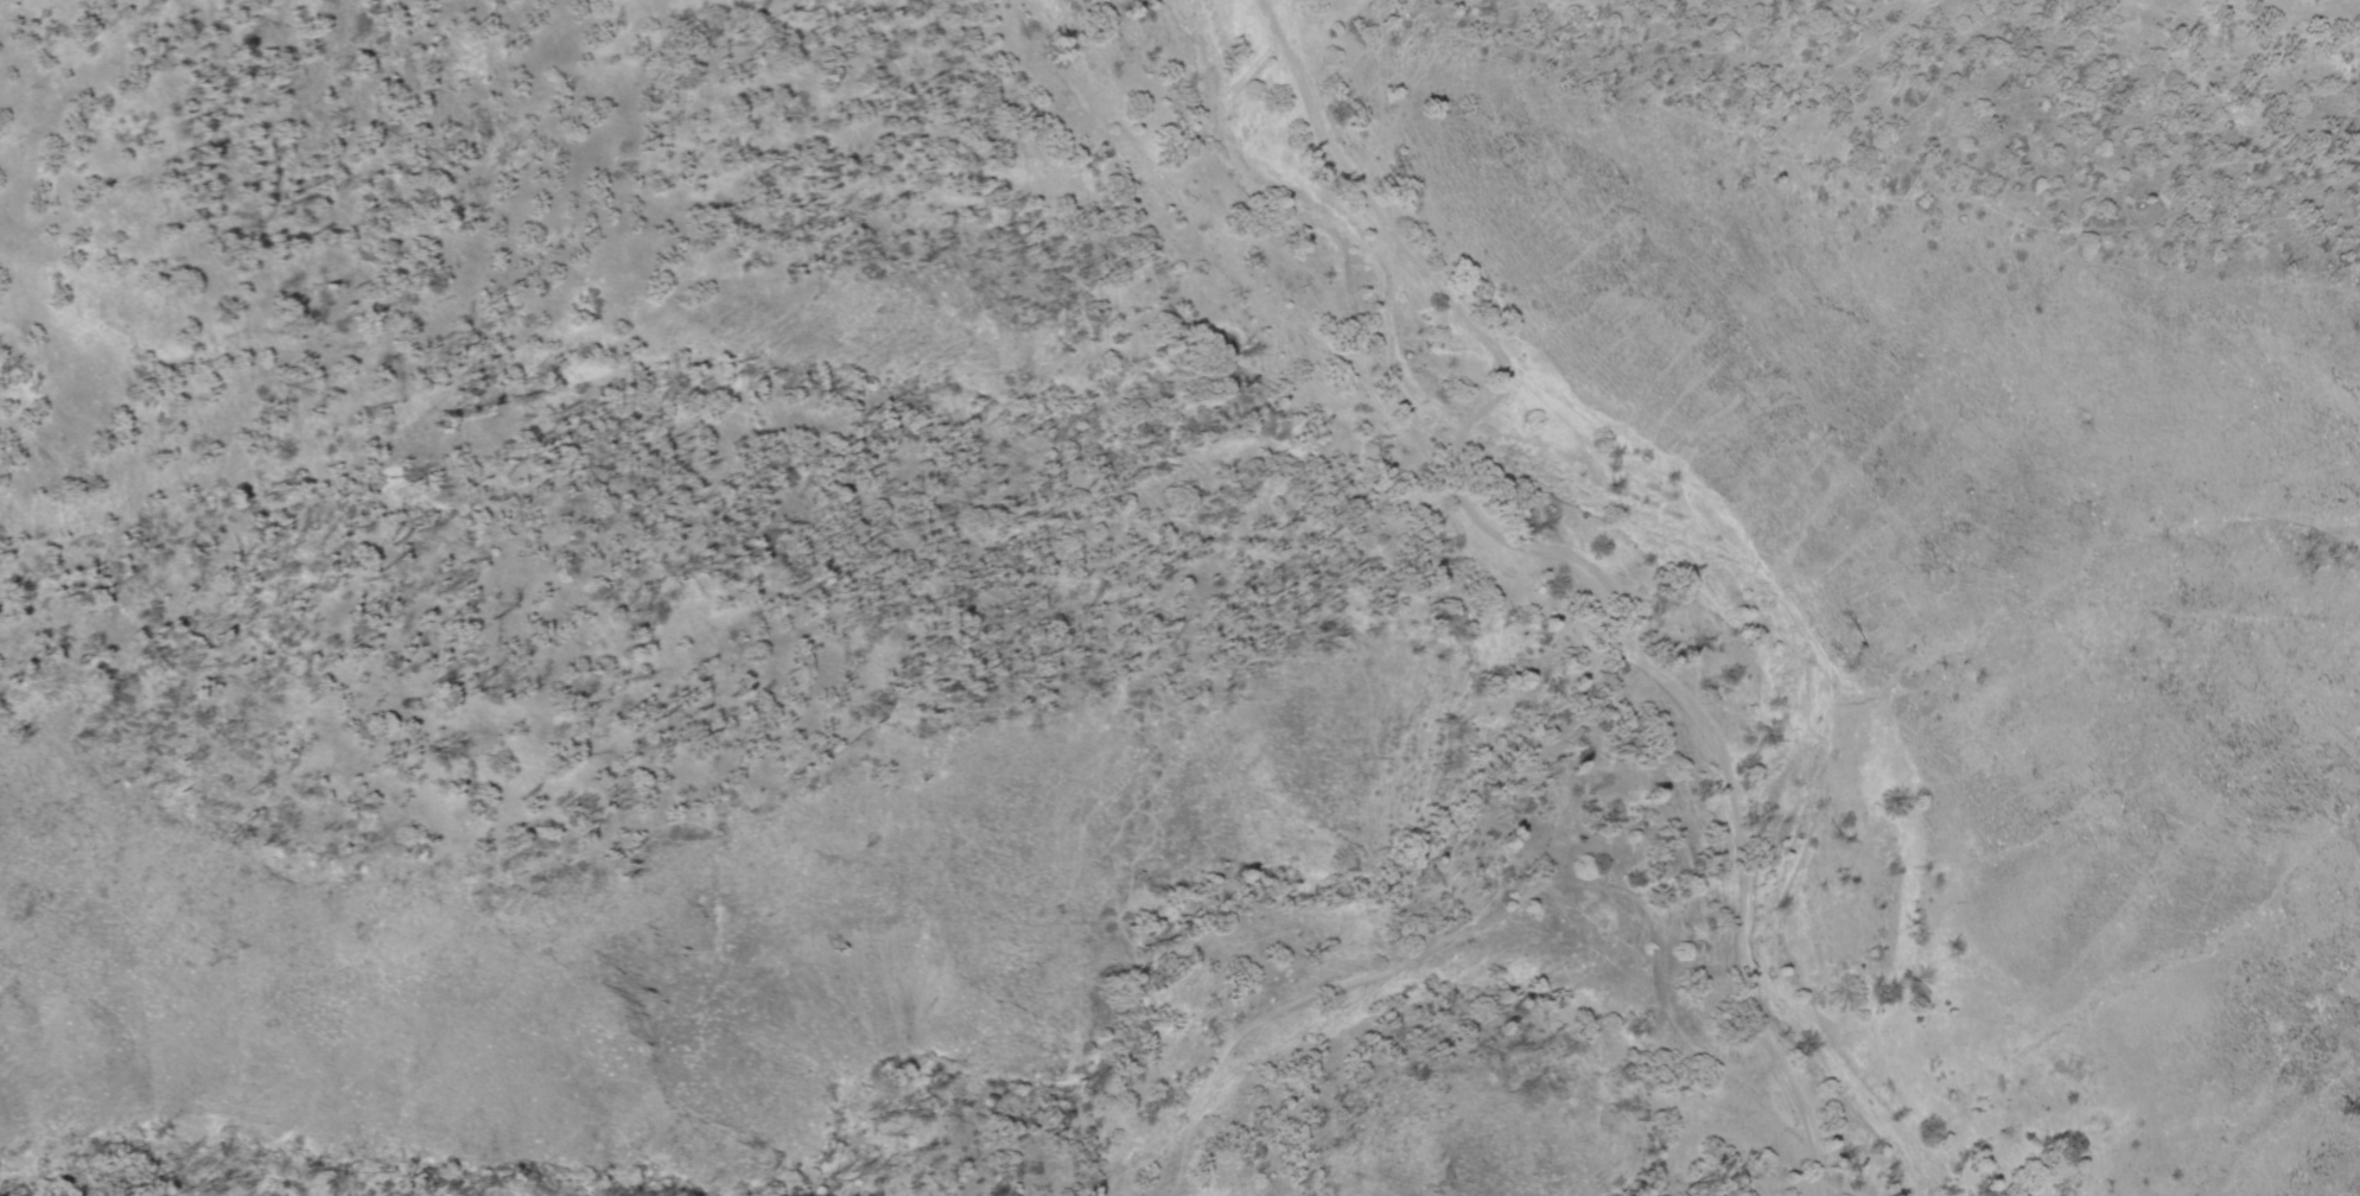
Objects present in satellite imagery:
road: (1548, 554)

